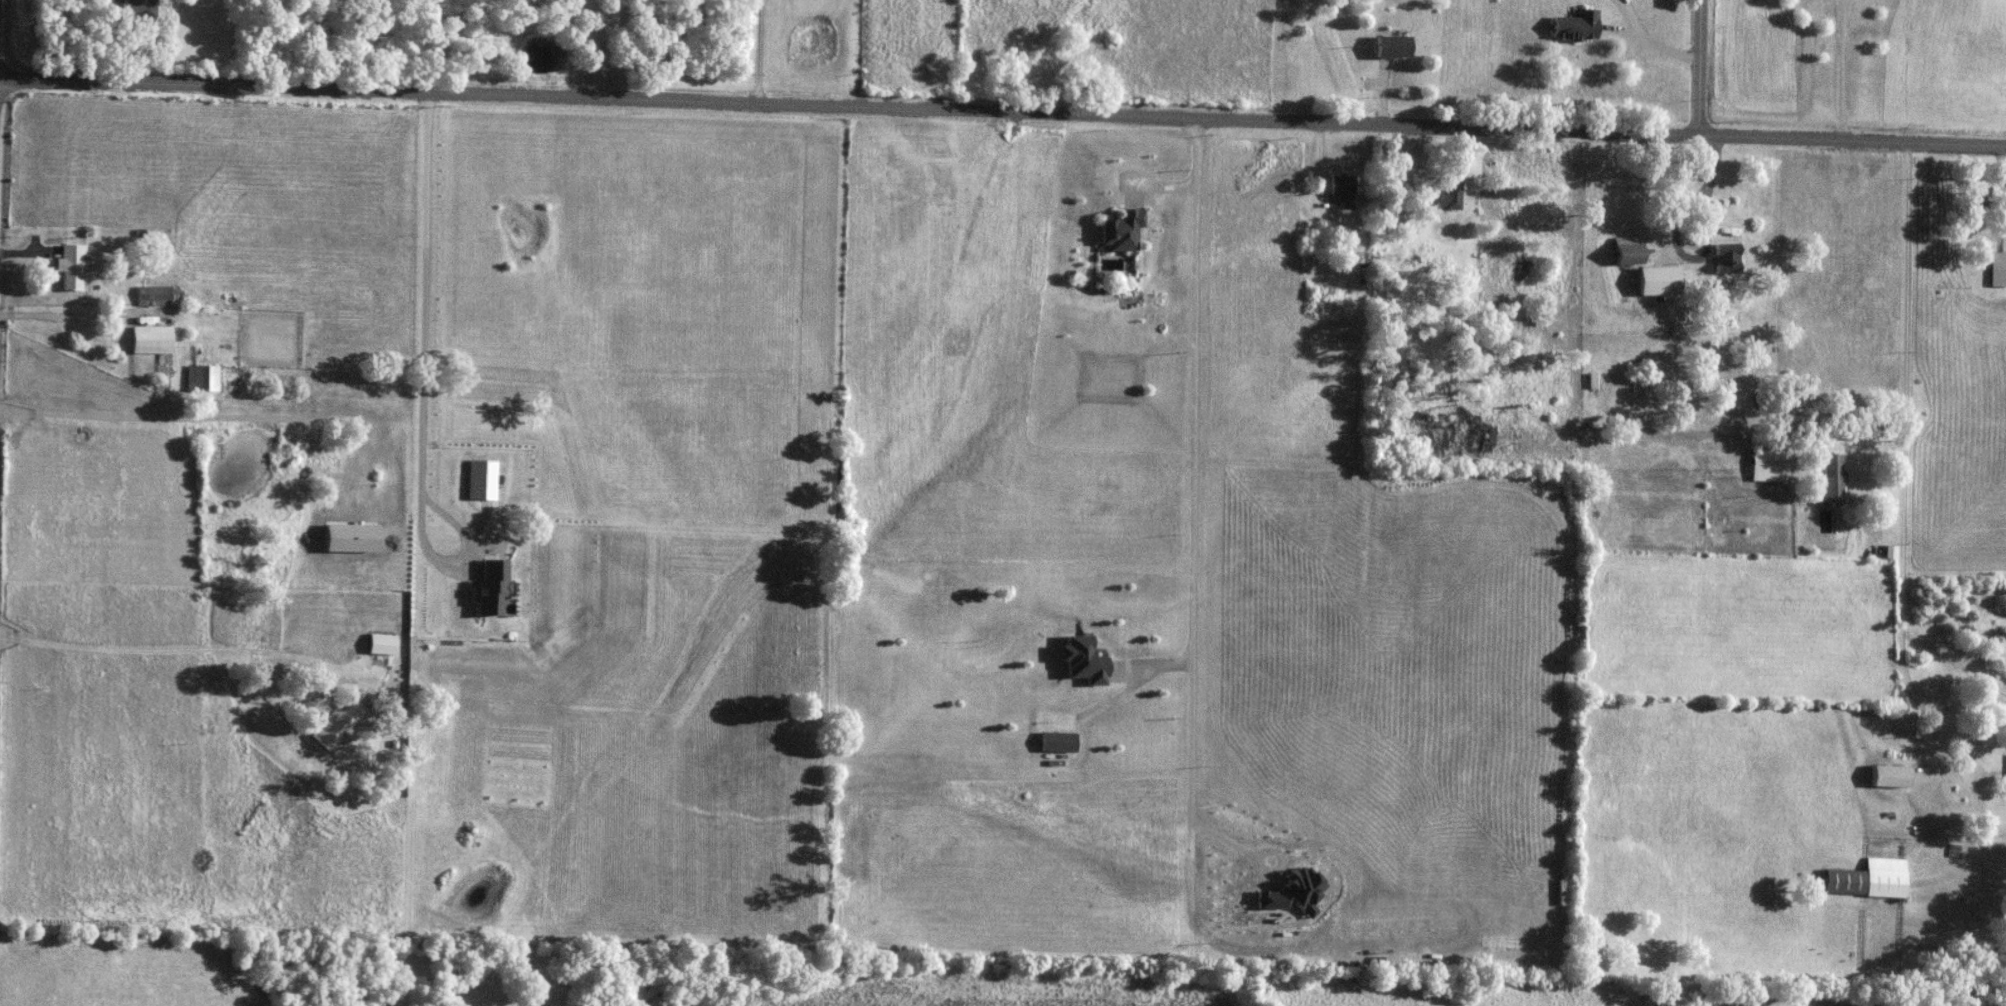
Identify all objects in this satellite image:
building: (133, 8)
building: (1575, 26)
building: (1392, 45)
road: (753, 52)
road: (1701, 68)
road: (1002, 113)
building: (1342, 190)
building: (1441, 192)
building: (1986, 198)
road: (1691, 208)
building: (1121, 230)
building: (1629, 250)
building: (1726, 258)
building: (71, 266)
building: (1997, 269)
building: (151, 295)
building: (1518, 323)
building: (150, 340)
building: (217, 379)
road: (421, 383)
building: (1764, 464)
building: (1829, 480)
road: (1194, 481)
road: (1904, 510)
building: (488, 589)
road: (1136, 679)
building: (1889, 776)
building: (1868, 878)

